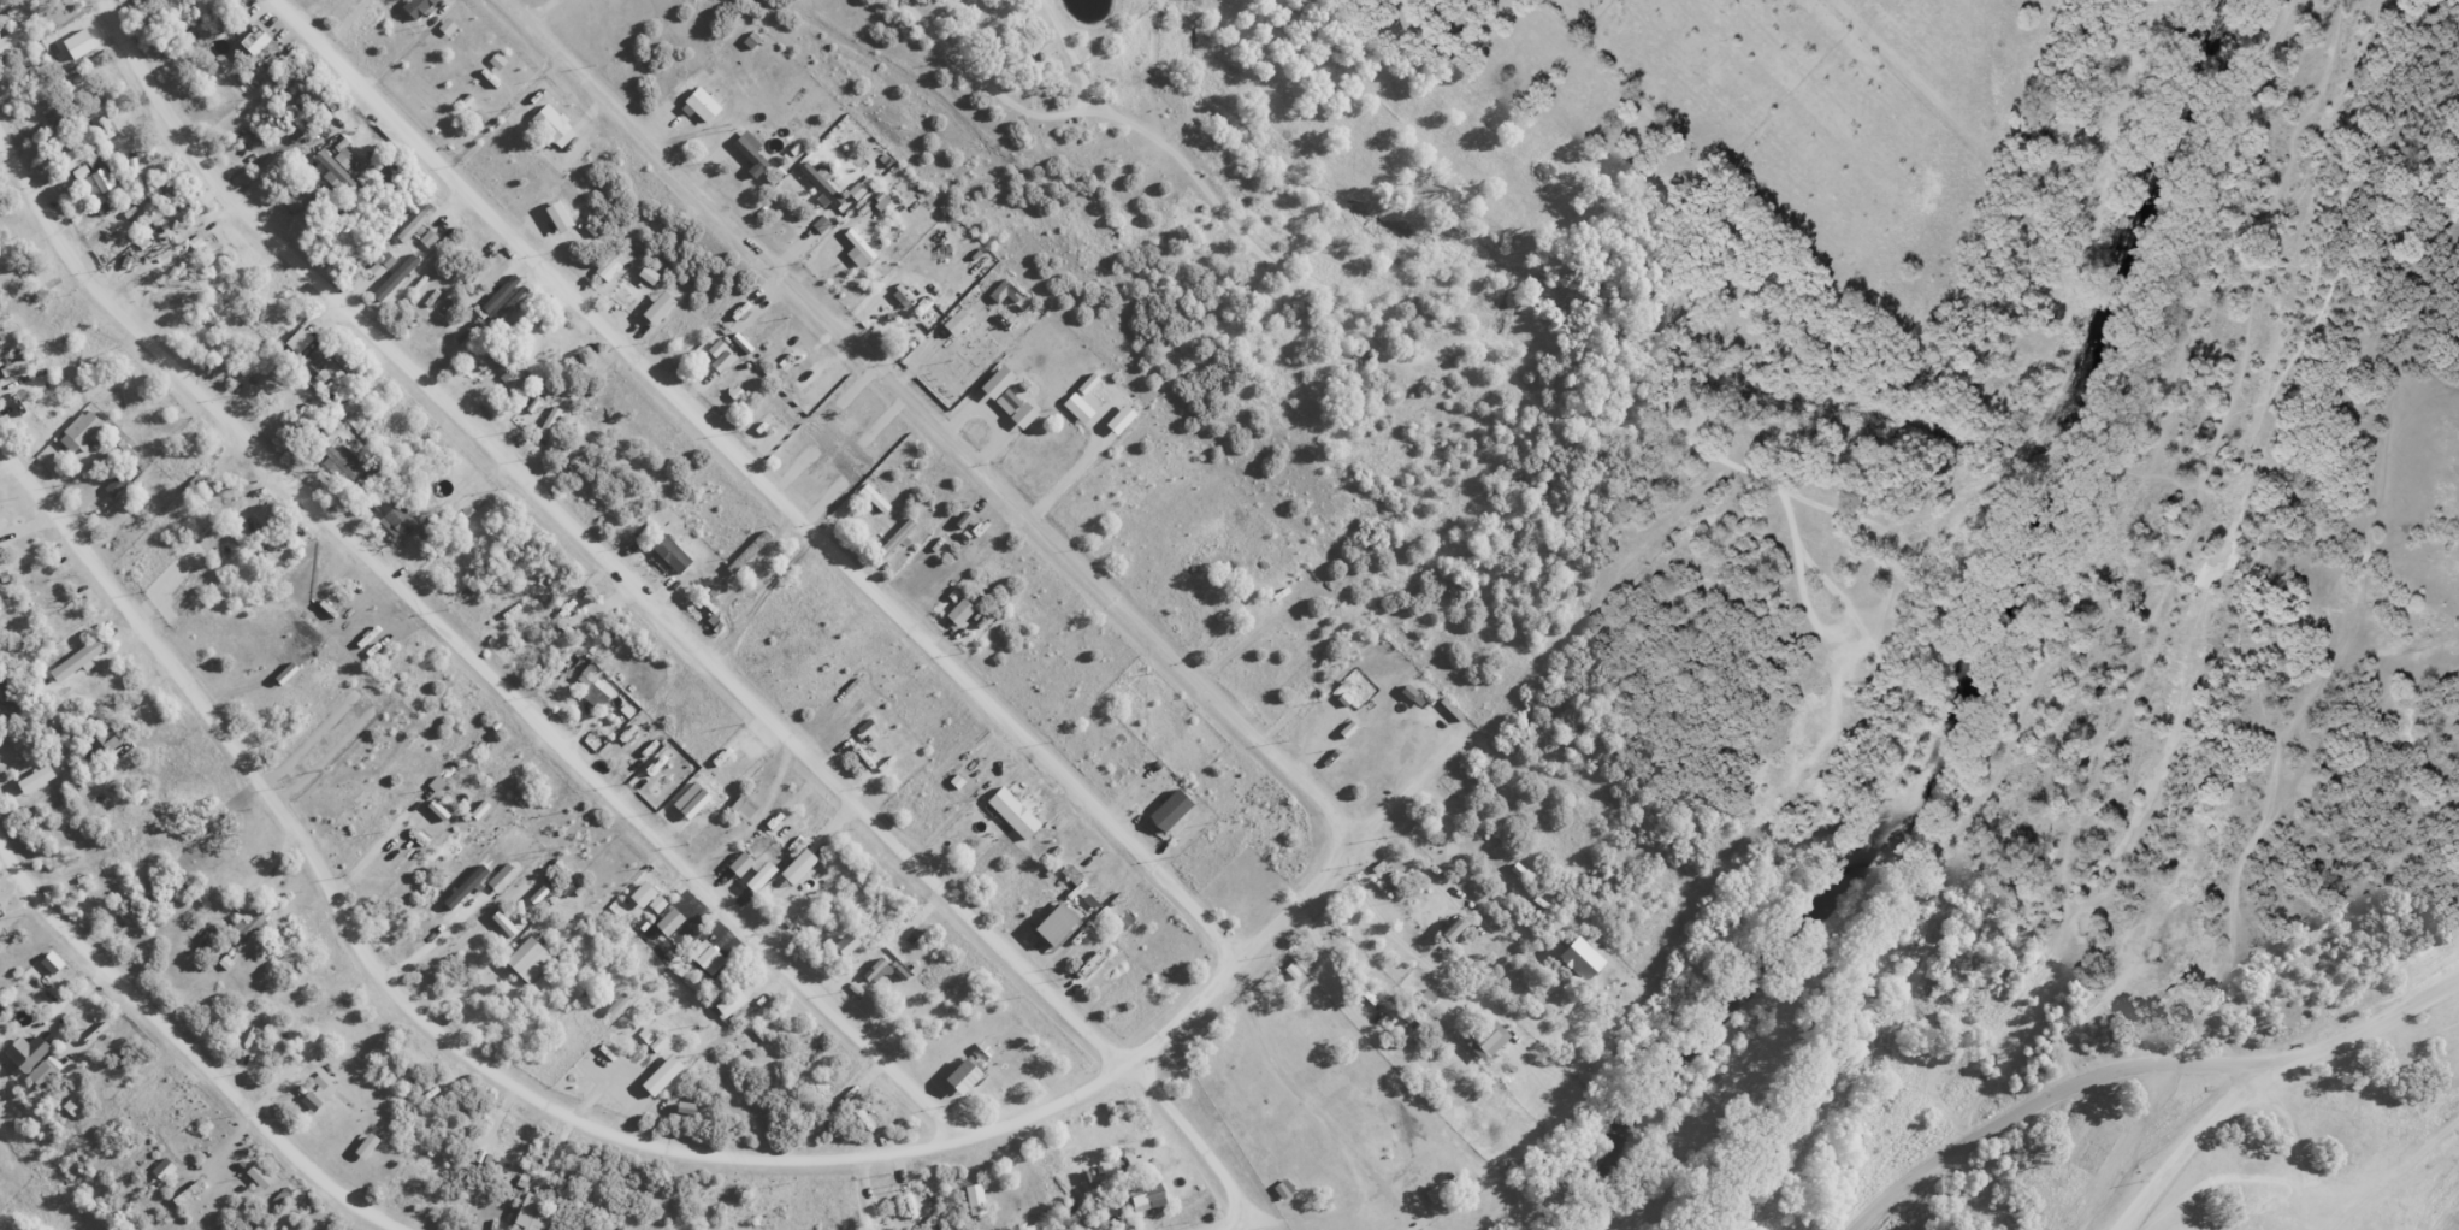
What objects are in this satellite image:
building: (253, 41)
road: (1083, 60)
building: (52, 110)
building: (550, 126)
building: (336, 172)
building: (99, 179)
building: (858, 244)
road: (1352, 315)
building: (330, 363)
road: (939, 419)
building: (82, 428)
building: (339, 463)
road: (764, 473)
building: (114, 485)
building: (874, 499)
building: (396, 522)
building: (892, 542)
building: (270, 554)
building: (669, 554)
road: (674, 614)
road: (467, 639)
road: (1848, 643)
river: (1966, 650)
building: (76, 660)
building: (7, 690)
building: (592, 690)
building: (100, 744)
building: (1011, 815)
building: (242, 903)
building: (248, 924)
building: (1427, 999)
road: (194, 1037)
building: (1482, 1040)
road: (1377, 1041)
road: (2144, 1063)
building: (309, 1102)
road: (572, 1113)
road: (2186, 1140)
building: (497, 1142)
road: (2400, 1176)
building: (184, 1193)
building: (1148, 1199)
road: (1295, 1207)
building: (2448, 1219)

